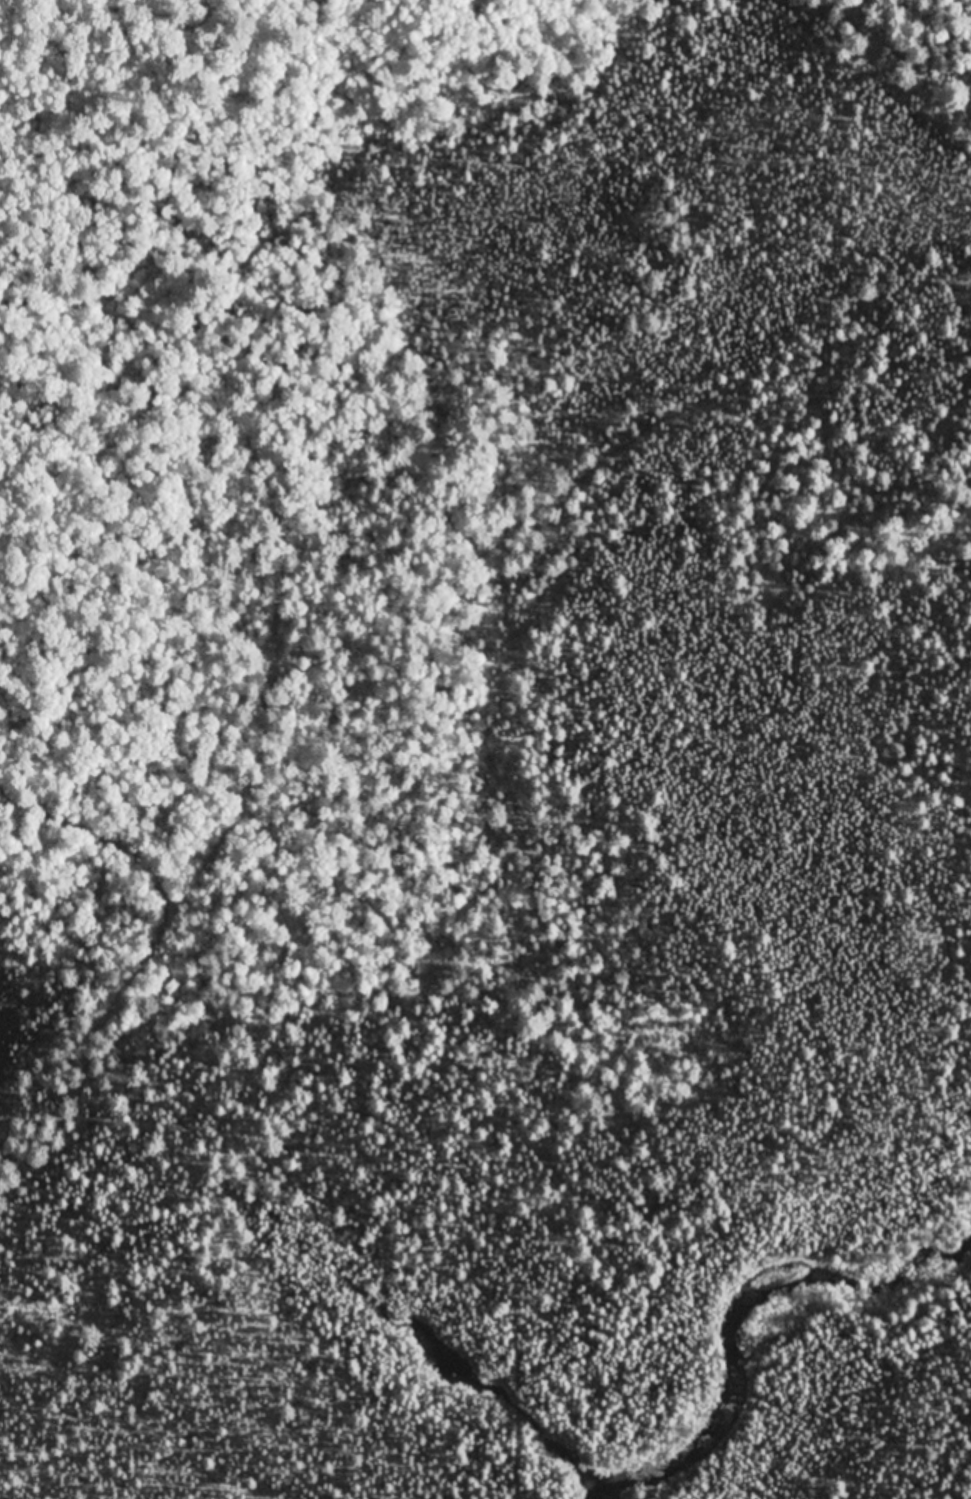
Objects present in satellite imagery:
road: (107, 938)

